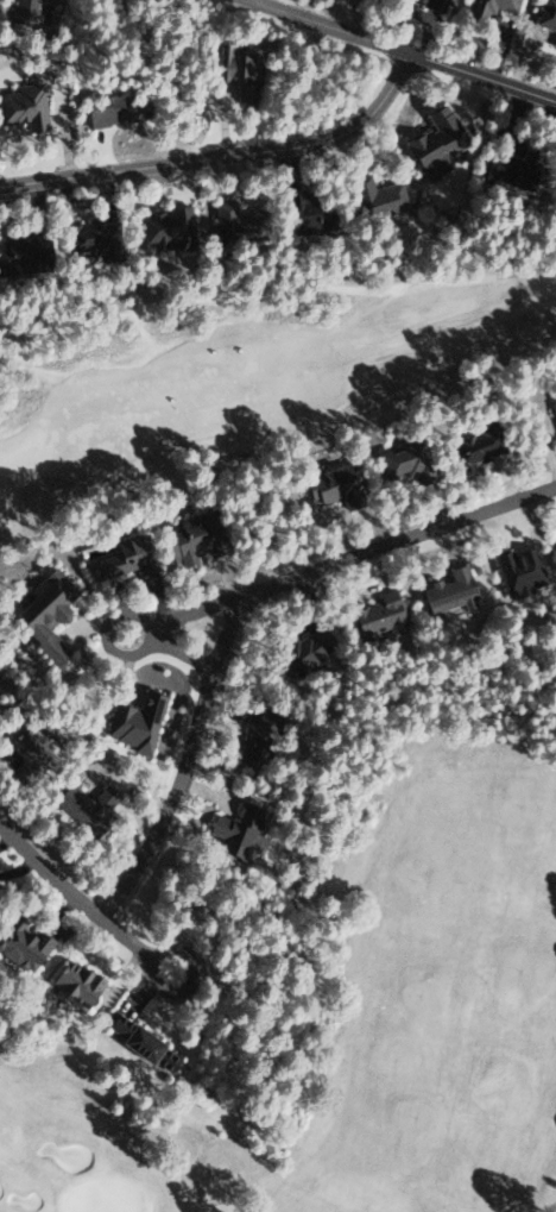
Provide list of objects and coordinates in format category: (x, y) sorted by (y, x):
building: (432, 4)
building: (488, 6)
building: (25, 13)
building: (546, 17)
road: (398, 51)
building: (232, 71)
building: (23, 106)
building: (105, 111)
building: (432, 142)
road: (226, 158)
building: (506, 168)
building: (373, 196)
building: (299, 211)
building: (227, 221)
building: (163, 226)
building: (86, 236)
building: (13, 251)
road: (526, 271)
road: (240, 297)
park: (258, 369)
building: (552, 406)
building: (468, 448)
building: (399, 461)
building: (327, 483)
building: (183, 541)
building: (118, 558)
building: (514, 571)
building: (447, 591)
road: (207, 608)
road: (239, 610)
building: (40, 614)
building: (378, 616)
building: (303, 651)
building: (133, 721)
building: (258, 737)
building: (27, 746)
building: (84, 805)
building: (236, 830)
road: (74, 899)
building: (21, 944)
building: (72, 981)
park: (361, 1013)
building: (139, 1043)

